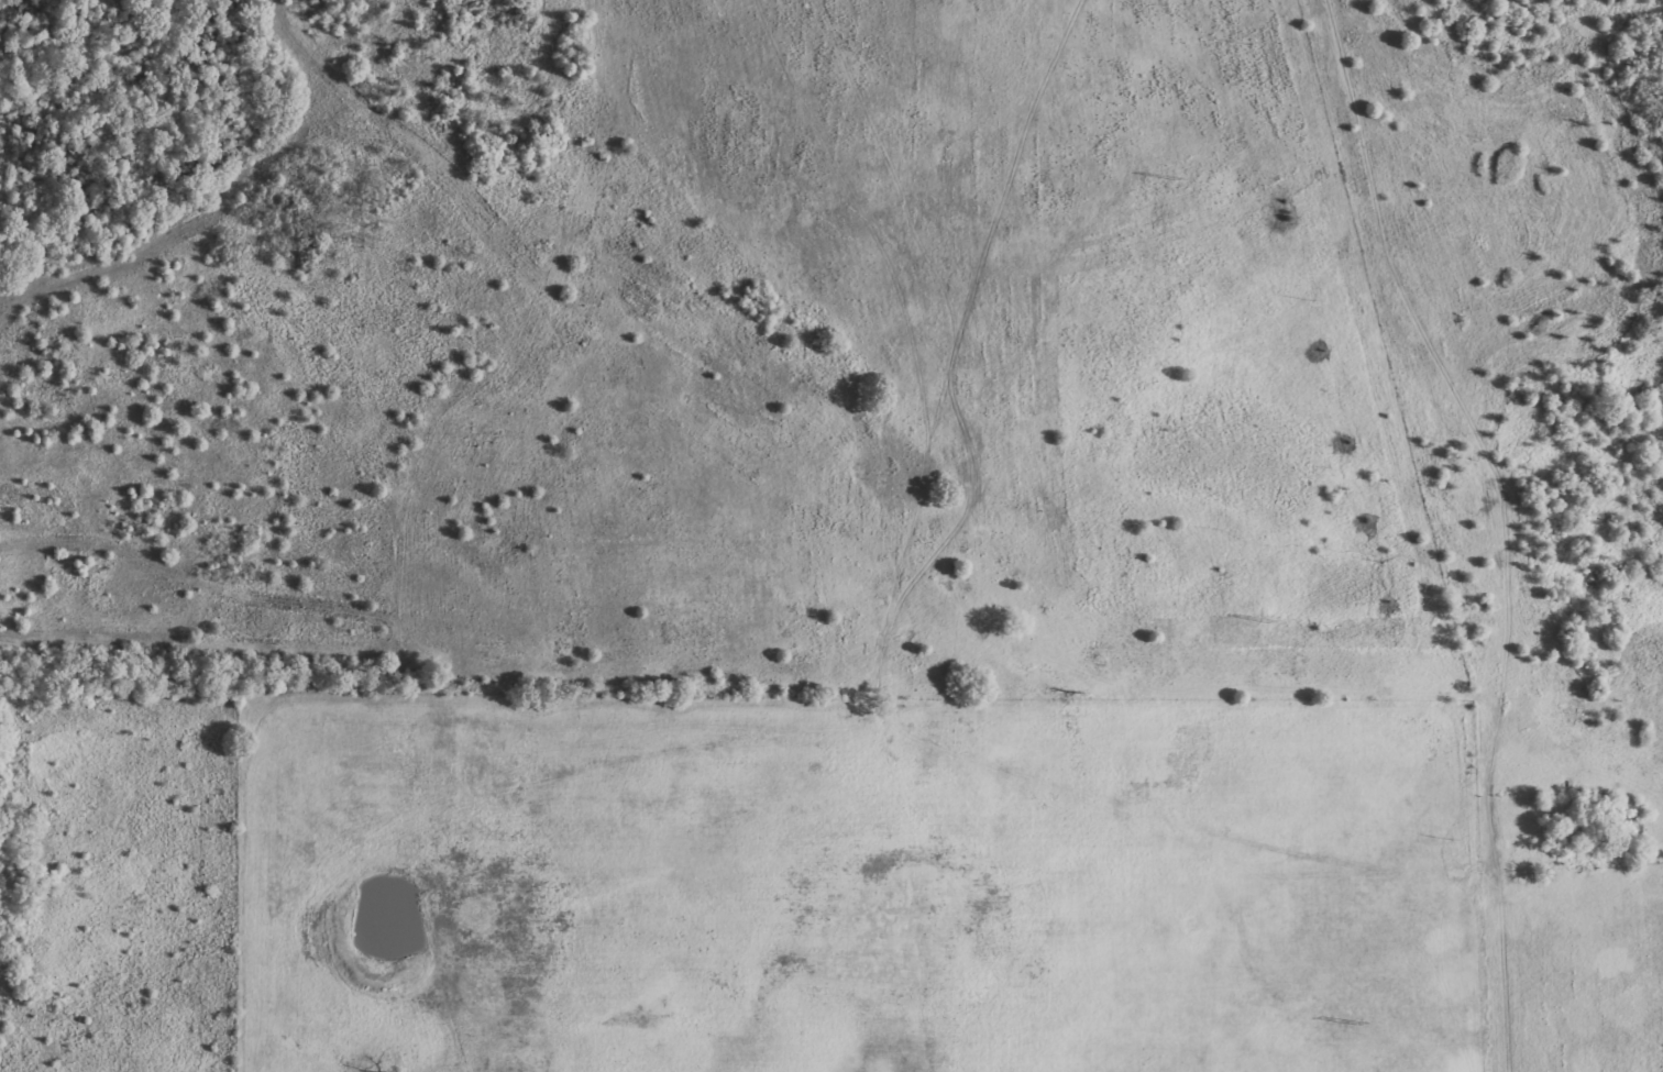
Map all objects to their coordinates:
power tower: (1172, 178)
power tower: (1263, 617)
power tower: (1351, 1020)

